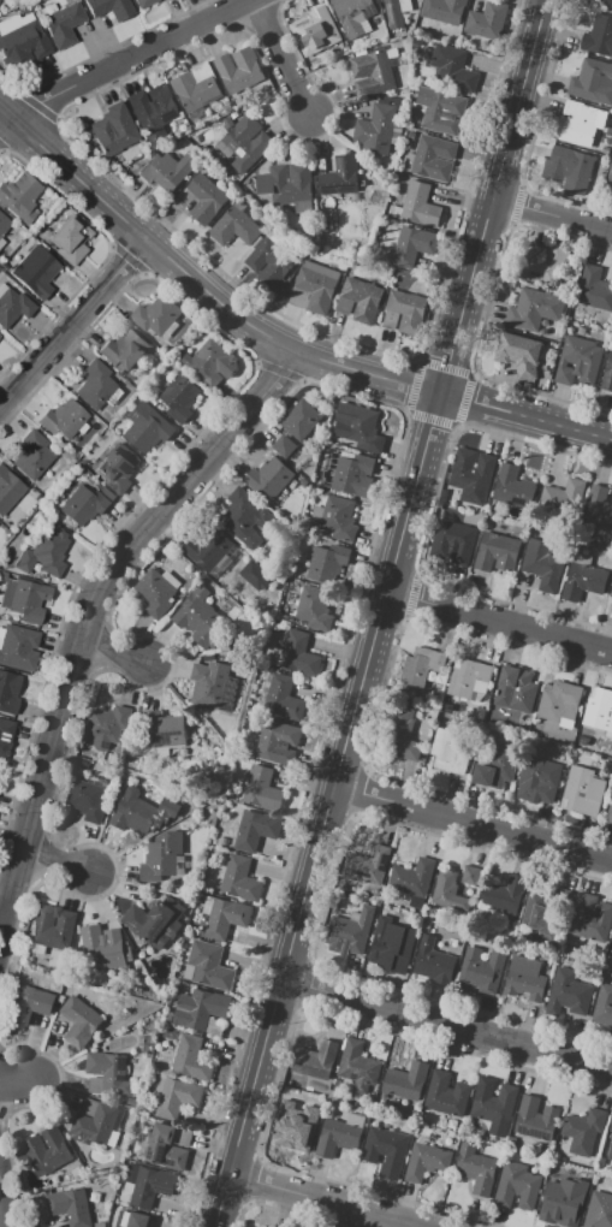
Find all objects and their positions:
building: (606, 1)
building: (145, 2)
building: (111, 7)
building: (444, 10)
building: (393, 13)
building: (353, 14)
building: (487, 20)
building: (61, 22)
building: (317, 32)
building: (598, 35)
building: (23, 41)
road: (281, 58)
road: (124, 64)
building: (239, 69)
building: (452, 69)
building: (372, 72)
building: (593, 82)
building: (196, 87)
building: (153, 111)
building: (440, 111)
building: (580, 123)
building: (376, 126)
building: (114, 129)
building: (246, 143)
building: (433, 158)
building: (572, 167)
building: (167, 170)
building: (340, 176)
building: (610, 176)
building: (289, 185)
building: (20, 196)
building: (206, 197)
building: (420, 204)
road: (553, 215)
building: (4, 224)
building: (234, 226)
building: (70, 239)
building: (1, 241)
building: (414, 245)
building: (271, 261)
building: (542, 263)
building: (36, 271)
building: (314, 286)
building: (594, 289)
building: (362, 300)
building: (13, 307)
building: (534, 308)
building: (408, 310)
building: (156, 315)
road: (75, 326)
road: (271, 337)
building: (125, 349)
building: (519, 354)
building: (578, 361)
building: (209, 363)
building: (571, 366)
building: (607, 373)
building: (96, 385)
building: (179, 397)
building: (64, 417)
building: (302, 419)
building: (357, 425)
building: (147, 427)
building: (284, 445)
building: (34, 455)
building: (117, 467)
building: (471, 470)
building: (346, 473)
building: (268, 476)
building: (515, 486)
building: (8, 491)
building: (564, 494)
building: (84, 505)
building: (598, 508)
building: (244, 517)
building: (339, 517)
building: (456, 540)
building: (207, 546)
building: (497, 552)
building: (44, 553)
building: (327, 562)
building: (542, 564)
building: (583, 581)
building: (154, 593)
building: (611, 593)
building: (23, 598)
building: (314, 607)
road: (382, 613)
road: (91, 616)
building: (198, 617)
road: (499, 626)
building: (17, 646)
road: (113, 653)
building: (298, 653)
building: (420, 666)
building: (468, 680)
building: (213, 686)
building: (516, 689)
building: (8, 692)
building: (283, 698)
building: (559, 701)
building: (599, 709)
building: (107, 725)
building: (166, 734)
building: (399, 735)
building: (5, 736)
building: (277, 741)
building: (447, 751)
building: (0, 767)
building: (497, 769)
building: (537, 781)
building: (262, 788)
building: (582, 792)
building: (87, 800)
building: (135, 814)
building: (608, 814)
road: (473, 824)
building: (255, 829)
building: (161, 856)
road: (58, 863)
building: (367, 865)
building: (240, 878)
building: (411, 878)
building: (457, 885)
building: (503, 895)
building: (410, 900)
road: (4, 906)
building: (552, 911)
building: (221, 917)
building: (590, 919)
building: (155, 921)
building: (52, 926)
building: (349, 932)
building: (391, 944)
building: (611, 946)
building: (103, 947)
building: (433, 961)
building: (208, 966)
building: (481, 970)
building: (524, 978)
building: (568, 994)
building: (29, 1003)
building: (604, 1004)
building: (198, 1008)
building: (79, 1021)
road: (447, 1025)
building: (191, 1059)
building: (315, 1060)
building: (357, 1066)
building: (109, 1072)
road: (16, 1080)
building: (405, 1080)
building: (446, 1093)
building: (177, 1097)
building: (494, 1104)
building: (535, 1118)
building: (298, 1122)
building: (95, 1124)
building: (611, 1127)
building: (583, 1130)
building: (337, 1137)
building: (166, 1148)
building: (385, 1150)
building: (47, 1151)
building: (610, 1151)
building: (426, 1161)
building: (476, 1168)
building: (147, 1185)
building: (517, 1186)
building: (560, 1199)
road: (326, 1201)
road: (5, 1204)
building: (70, 1207)
building: (599, 1210)
building: (132, 1219)

